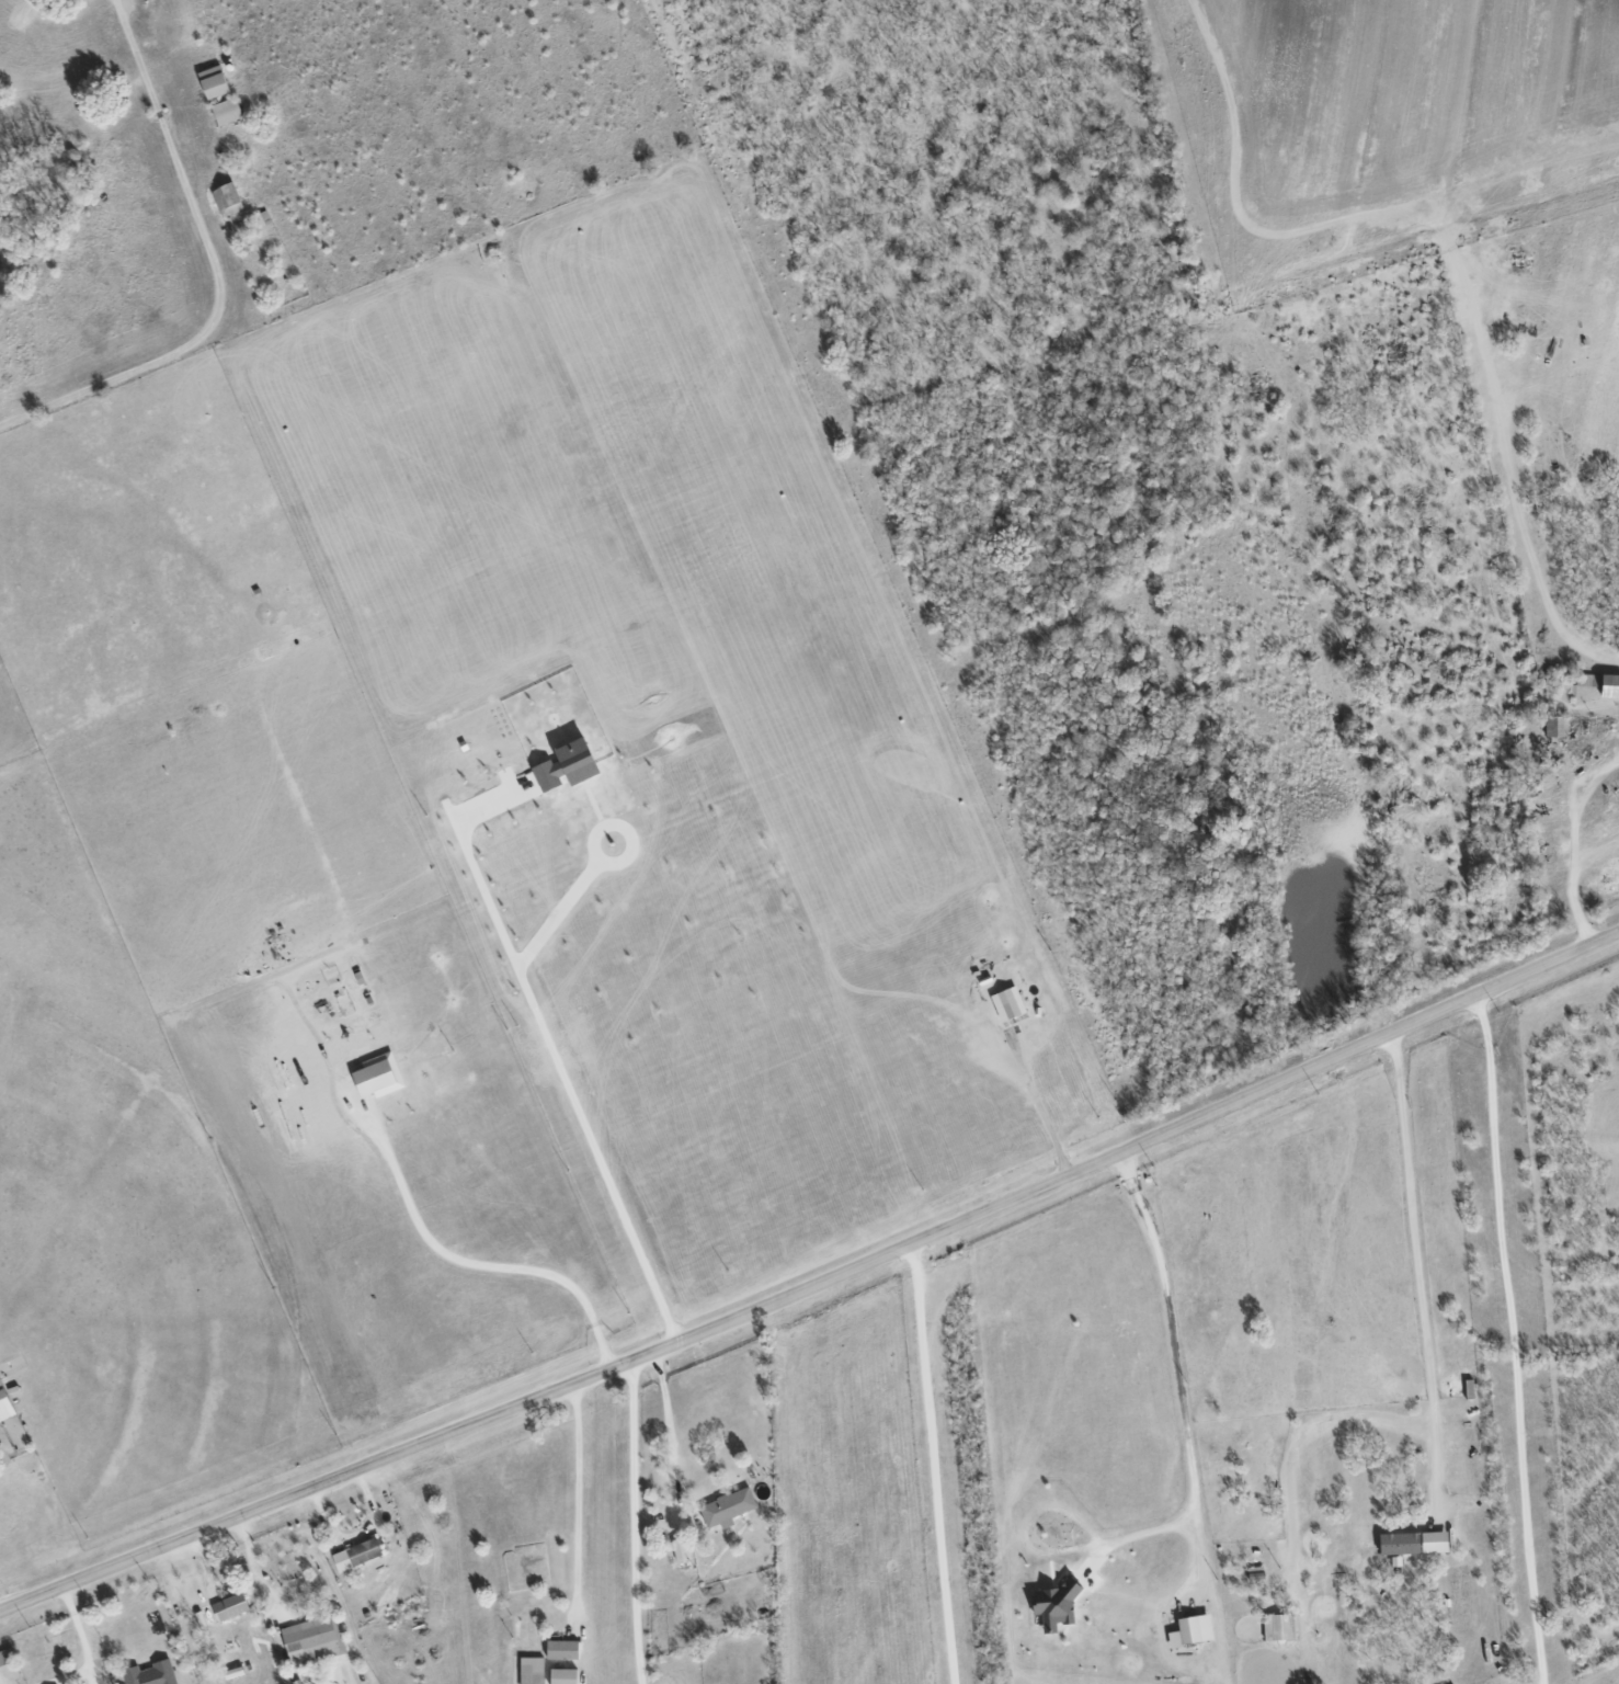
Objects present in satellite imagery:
building: (216, 82)
building: (227, 111)
building: (228, 200)
road: (214, 271)
building: (1604, 685)
building: (572, 765)
road: (1580, 812)
road: (631, 841)
road: (1596, 865)
road: (557, 913)
road: (1575, 913)
building: (1004, 1004)
road: (555, 1057)
building: (378, 1078)
road: (1040, 1111)
road: (475, 1267)
road: (1417, 1275)
road: (816, 1287)
road: (1512, 1339)
road: (1178, 1391)
building: (7, 1402)
road: (670, 1432)
road: (932, 1464)
road: (577, 1501)
building: (729, 1507)
road: (634, 1523)
road: (355, 1536)
building: (1407, 1544)
building: (682, 1549)
building: (358, 1555)
road: (255, 1573)
building: (1057, 1604)
building: (235, 1606)
building: (1195, 1630)
road: (81, 1635)
building: (310, 1639)
building: (566, 1650)
building: (8, 1657)
building: (533, 1670)
building: (147, 1674)
building: (567, 1676)

